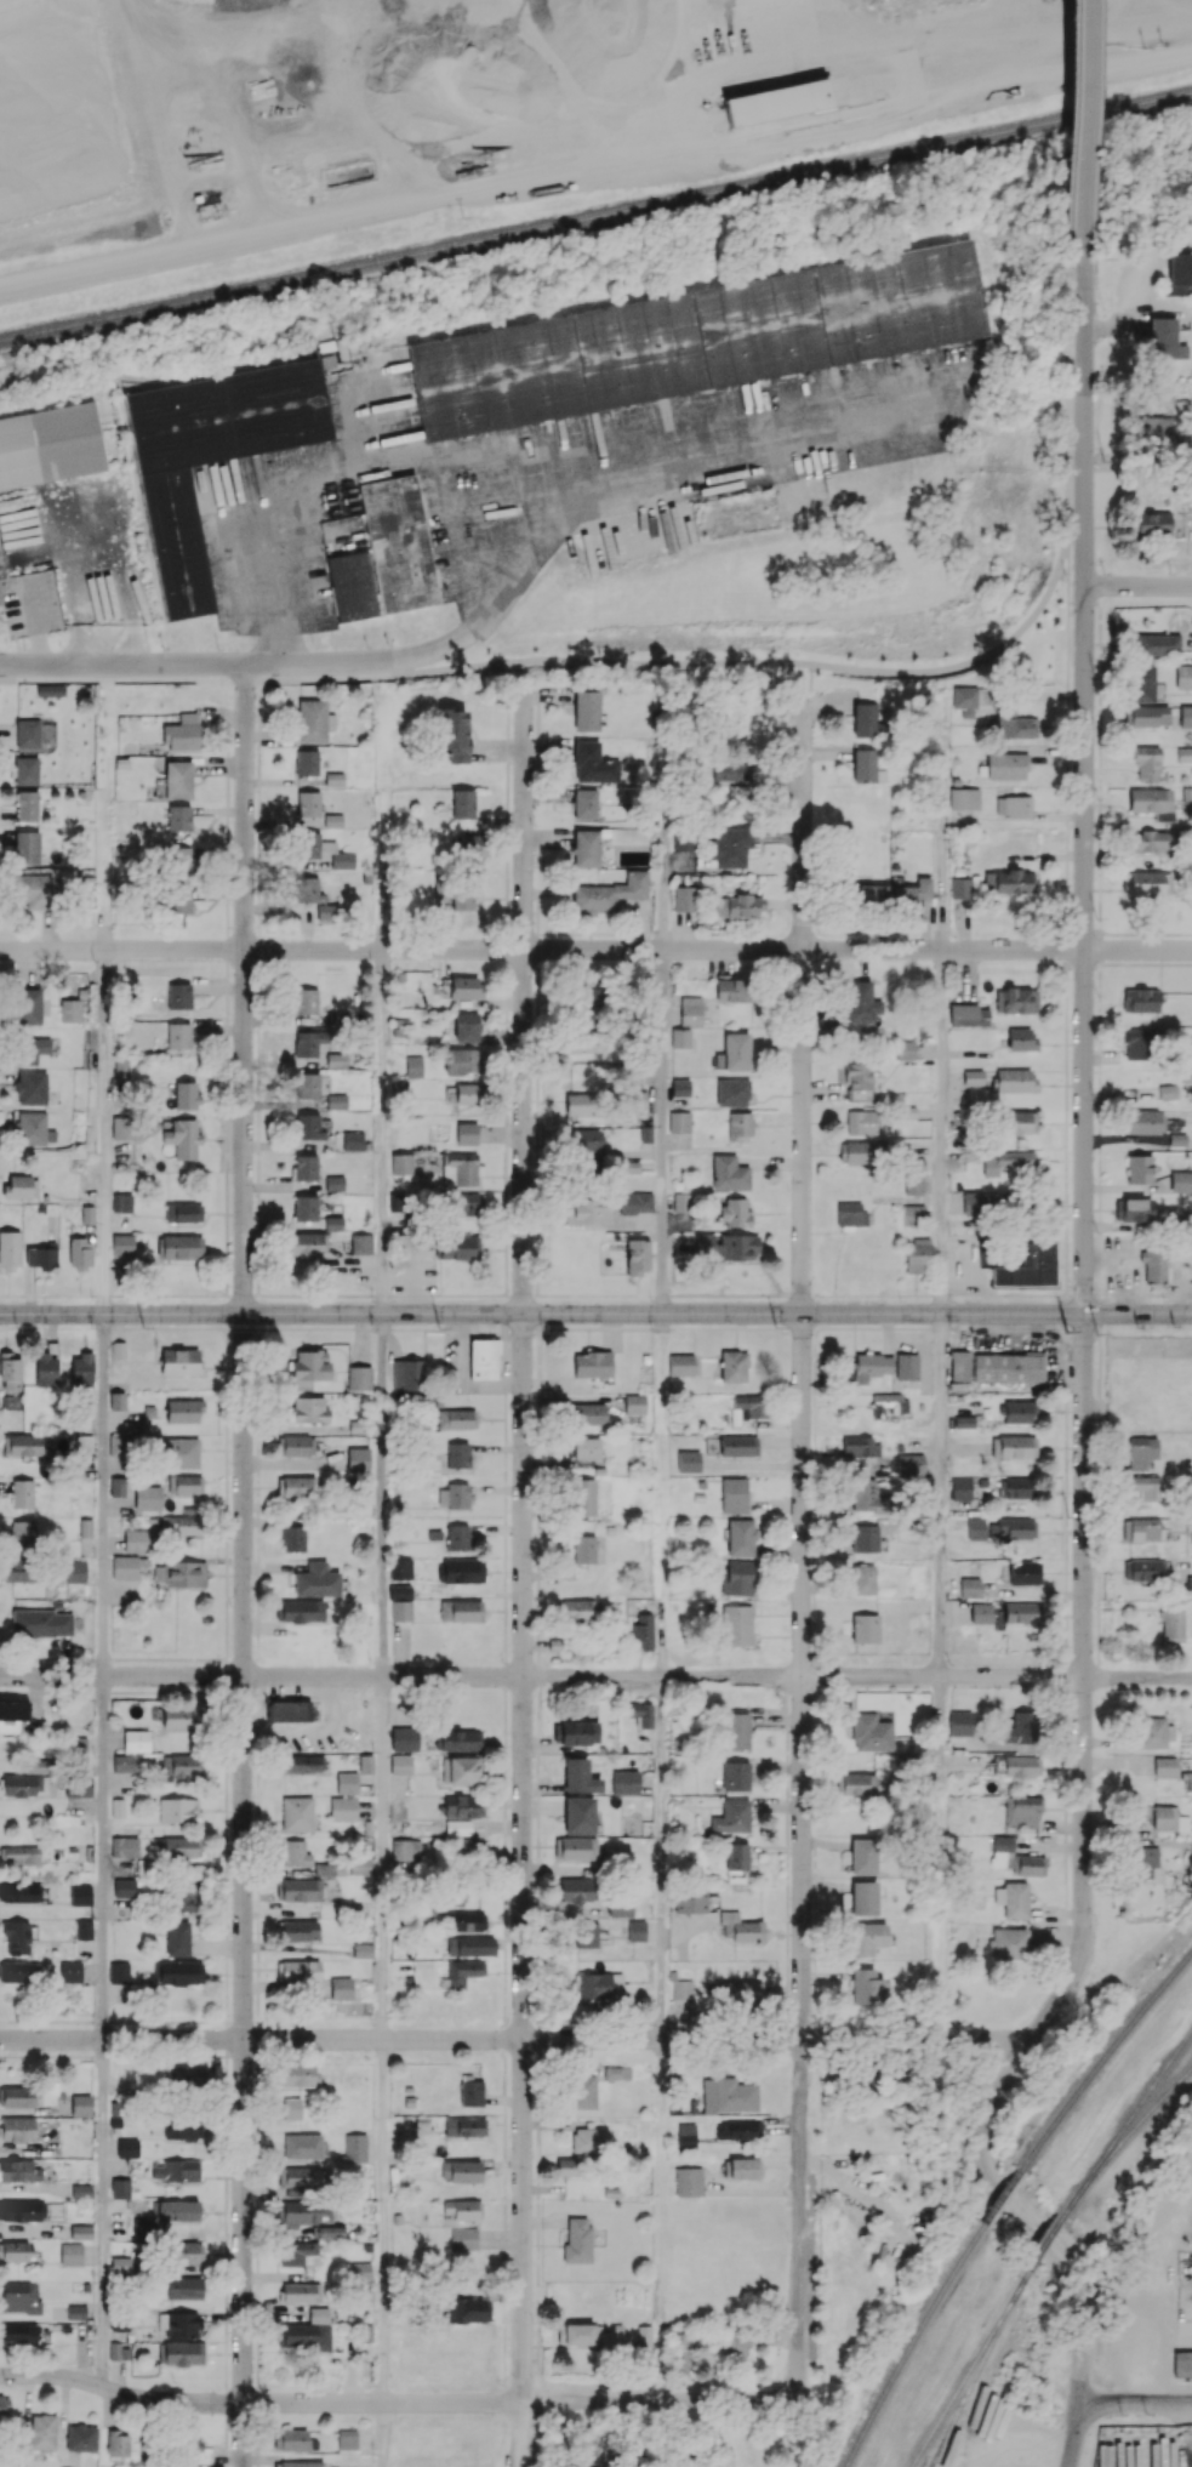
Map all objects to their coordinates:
building: (1184, 96)
building: (778, 102)
building: (1153, 104)
road: (1084, 121)
road: (1070, 130)
road: (597, 175)
railway: (595, 216)
building: (1179, 274)
building: (1162, 337)
building: (697, 340)
road: (1084, 415)
building: (50, 445)
building: (211, 456)
road: (665, 467)
road: (323, 472)
building: (1153, 523)
building: (384, 554)
road: (1139, 586)
building: (2, 587)
building: (1154, 644)
road: (706, 660)
road: (238, 666)
building: (1182, 676)
building: (1141, 683)
road: (810, 684)
road: (1033, 694)
building: (964, 701)
building: (586, 710)
building: (1148, 716)
building: (1185, 716)
building: (865, 719)
building: (313, 720)
building: (1016, 725)
building: (182, 733)
building: (27, 734)
building: (454, 734)
road: (1066, 747)
building: (1184, 754)
building: (306, 762)
building: (593, 764)
building: (1146, 764)
building: (1005, 765)
building: (866, 767)
building: (25, 770)
building: (730, 771)
building: (178, 779)
building: (335, 779)
building: (1186, 796)
building: (964, 798)
building: (1152, 802)
building: (308, 803)
building: (584, 803)
building: (463, 804)
building: (25, 805)
road: (104, 807)
building: (1014, 807)
building: (178, 817)
building: (333, 820)
building: (683, 839)
road: (942, 839)
building: (1147, 841)
building: (469, 845)
building: (25, 847)
building: (730, 847)
building: (586, 848)
building: (324, 850)
building: (178, 860)
building: (1009, 883)
building: (1146, 883)
building: (962, 888)
building: (33, 891)
building: (456, 893)
building: (609, 893)
building: (912, 893)
road: (662, 894)
building: (866, 895)
building: (313, 896)
building: (684, 898)
building: (178, 900)
building: (737, 906)
road: (595, 948)
road: (1084, 948)
building: (466, 987)
building: (587, 988)
building: (734, 990)
building: (178, 996)
building: (1015, 999)
building: (1140, 999)
building: (306, 1001)
building: (27, 1005)
building: (861, 1007)
building: (70, 1010)
building: (690, 1010)
building: (968, 1015)
building: (338, 1019)
building: (466, 1026)
building: (178, 1035)
building: (680, 1037)
building: (1020, 1038)
building: (582, 1041)
building: (308, 1042)
building: (1135, 1042)
building: (29, 1049)
building: (905, 1049)
building: (736, 1050)
building: (336, 1060)
building: (462, 1061)
building: (414, 1065)
building: (120, 1069)
building: (1186, 1076)
building: (973, 1077)
building: (1015, 1079)
building: (859, 1081)
building: (307, 1084)
building: (680, 1087)
building: (32, 1088)
building: (1167, 1088)
building: (731, 1092)
building: (186, 1094)
building: (336, 1100)
building: (637, 1100)
building: (580, 1104)
building: (679, 1122)
building: (861, 1122)
building: (1019, 1122)
building: (1145, 1122)
building: (738, 1124)
building: (120, 1127)
building: (308, 1127)
building: (30, 1128)
road: (663, 1130)
road: (104, 1132)
road: (383, 1132)
road: (942, 1132)
building: (466, 1133)
building: (182, 1138)
building: (586, 1139)
building: (353, 1140)
building: (860, 1152)
building: (1008, 1162)
building: (401, 1163)
building: (304, 1167)
building: (1139, 1168)
building: (460, 1169)
building: (728, 1173)
building: (1180, 1181)
building: (335, 1183)
building: (913, 1184)
building: (21, 1186)
building: (121, 1202)
building: (635, 1202)
building: (680, 1202)
building: (973, 1203)
building: (466, 1204)
building: (304, 1207)
building: (1134, 1209)
building: (588, 1210)
building: (182, 1212)
building: (735, 1212)
building: (87, 1213)
building: (850, 1214)
building: (912, 1214)
building: (333, 1223)
building: (360, 1243)
building: (122, 1244)
building: (306, 1244)
building: (519, 1244)
building: (728, 1246)
building: (178, 1247)
building: (458, 1247)
building: (10, 1249)
building: (79, 1253)
building: (917, 1255)
building: (39, 1257)
building: (638, 1257)
building: (1153, 1265)
building: (1028, 1266)
road: (595, 1314)
power tower: (1067, 1331)
building: (483, 1358)
building: (181, 1361)
building: (310, 1364)
building: (592, 1364)
building: (680, 1364)
building: (872, 1364)
building: (732, 1366)
building: (906, 1366)
building: (998, 1367)
building: (81, 1369)
building: (8, 1371)
building: (45, 1371)
road: (802, 1372)
building: (407, 1374)
building: (359, 1378)
building: (116, 1401)
building: (634, 1403)
building: (888, 1403)
building: (751, 1405)
building: (183, 1411)
building: (308, 1411)
building: (1019, 1412)
building: (588, 1413)
building: (456, 1418)
building: (964, 1421)
building: (84, 1442)
building: (118, 1443)
building: (22, 1445)
building: (291, 1445)
building: (737, 1445)
building: (859, 1446)
building: (1013, 1446)
building: (586, 1448)
building: (179, 1452)
building: (457, 1454)
building: (688, 1460)
building: (909, 1463)
building: (184, 1483)
building: (116, 1486)
building: (296, 1486)
building: (960, 1486)
building: (1015, 1487)
building: (1145, 1487)
building: (22, 1493)
road: (104, 1494)
road: (383, 1494)
building: (865, 1494)
road: (940, 1494)
building: (454, 1495)
road: (663, 1495)
building: (734, 1495)
building: (583, 1497)
building: (147, 1498)
building: (179, 1525)
building: (1191, 1525)
building: (1015, 1527)
building: (975, 1528)
building: (1142, 1528)
building: (23, 1533)
building: (457, 1537)
building: (741, 1537)
building: (292, 1538)
building: (865, 1538)
building: (135, 1539)
building: (583, 1549)
building: (126, 1566)
road: (243, 1566)
building: (400, 1568)
building: (21, 1569)
building: (460, 1569)
building: (1146, 1569)
building: (75, 1571)
building: (1025, 1572)
building: (179, 1573)
road: (523, 1576)
building: (738, 1578)
building: (863, 1579)
building: (316, 1580)
building: (969, 1586)
building: (1188, 1586)
building: (400, 1602)
building: (578, 1609)
building: (302, 1611)
building: (460, 1611)
building: (1022, 1612)
building: (981, 1613)
building: (45, 1623)
building: (736, 1625)
building: (1171, 1625)
building: (865, 1628)
building: (643, 1630)
road: (595, 1677)
building: (289, 1710)
building: (641, 1714)
building: (12, 1715)
building: (179, 1719)
building: (1017, 1726)
building: (959, 1728)
building: (736, 1731)
building: (578, 1732)
building: (871, 1732)
building: (1154, 1732)
building: (404, 1738)
building: (136, 1739)
building: (461, 1739)
building: (76, 1744)
building: (122, 1762)
building: (300, 1764)
building: (36, 1765)
building: (400, 1765)
building: (1021, 1765)
building: (1165, 1766)
building: (182, 1767)
building: (460, 1771)
building: (578, 1776)
building: (735, 1776)
building: (357, 1778)
building: (1187, 1781)
building: (624, 1782)
building: (859, 1783)
building: (24, 1785)
building: (78, 1787)
building: (463, 1806)
building: (343, 1808)
building: (177, 1810)
building: (1022, 1812)
building: (297, 1813)
building: (578, 1814)
building: (732, 1817)
building: (1169, 1818)
building: (456, 1828)
building: (124, 1846)
building: (466, 1846)
building: (181, 1847)
building: (577, 1847)
building: (401, 1848)
building: (295, 1853)
building: (19, 1856)
building: (736, 1856)
building: (863, 1856)
road: (105, 1857)
road: (382, 1857)
road: (939, 1857)
road: (665, 1858)
building: (1145, 1862)
building: (360, 1865)
building: (1030, 1865)
building: (329, 1868)
building: (124, 1887)
building: (300, 1888)
building: (576, 1890)
building: (19, 1892)
building: (80, 1895)
building: (183, 1895)
building: (863, 1897)
building: (1014, 1899)
building: (690, 1901)
building: (620, 1908)
road: (1055, 1914)
building: (466, 1920)
road: (1082, 1921)
building: (741, 1927)
building: (82, 1928)
building: (298, 1930)
building: (637, 1930)
building: (586, 1935)
building: (16, 1936)
building: (867, 1937)
building: (177, 1938)
building: (1009, 1943)
building: (469, 1945)
building: (363, 1950)
building: (19, 1971)
building: (69, 1971)
building: (297, 1971)
building: (119, 1972)
building: (179, 1972)
building: (461, 1972)
building: (598, 1985)
building: (868, 1987)
building: (341, 1988)
building: (681, 1988)
building: (742, 1993)
building: (681, 2015)
road: (914, 2038)
road: (400, 2039)
railway: (1102, 2057)
building: (617, 2072)
building: (296, 2074)
building: (184, 2078)
building: (583, 2091)
building: (470, 2092)
building: (728, 2095)
building: (17, 2096)
building: (80, 2104)
building: (291, 2108)
railway: (1127, 2120)
building: (464, 2126)
building: (182, 2127)
building: (17, 2129)
building: (737, 2130)
railway: (1127, 2135)
building: (589, 2140)
building: (53, 2147)
building: (302, 2147)
building: (127, 2148)
building: (354, 2148)
building: (568, 2166)
building: (743, 2169)
building: (18, 2170)
building: (177, 2170)
building: (461, 2170)
building: (296, 2180)
building: (688, 2181)
railway: (1000, 2195)
building: (461, 2209)
building: (22, 2210)
building: (175, 2210)
road: (798, 2211)
road: (102, 2212)
building: (301, 2212)
road: (662, 2220)
road: (382, 2221)
road: (1103, 2226)
building: (81, 2230)
building: (330, 2232)
building: (463, 2238)
building: (577, 2239)
railway: (1043, 2240)
building: (15, 2251)
building: (296, 2251)
building: (70, 2252)
building: (187, 2252)
building: (360, 2271)
building: (183, 2287)
building: (301, 2292)
building: (19, 2297)
building: (468, 2309)
building: (75, 2312)
building: (318, 2314)
building: (179, 2324)
building: (18, 2334)
building: (577, 2334)
building: (643, 2335)
building: (306, 2336)
railway: (994, 2338)
building: (735, 2341)
railway: (912, 2343)
building: (115, 2351)
building: (679, 2352)
building: (182, 2353)
building: (1182, 2364)
railway: (970, 2368)
road: (661, 2400)
road: (1133, 2402)
road: (259, 2403)
building: (4, 2406)
building: (42, 2431)
road: (1186, 2433)
road: (382, 2434)
building: (80, 2438)
building: (290, 2439)
building: (347, 2439)
railway: (943, 2443)
railway: (946, 2443)
building: (116, 2444)
building: (190, 2445)
building: (298, 2463)

